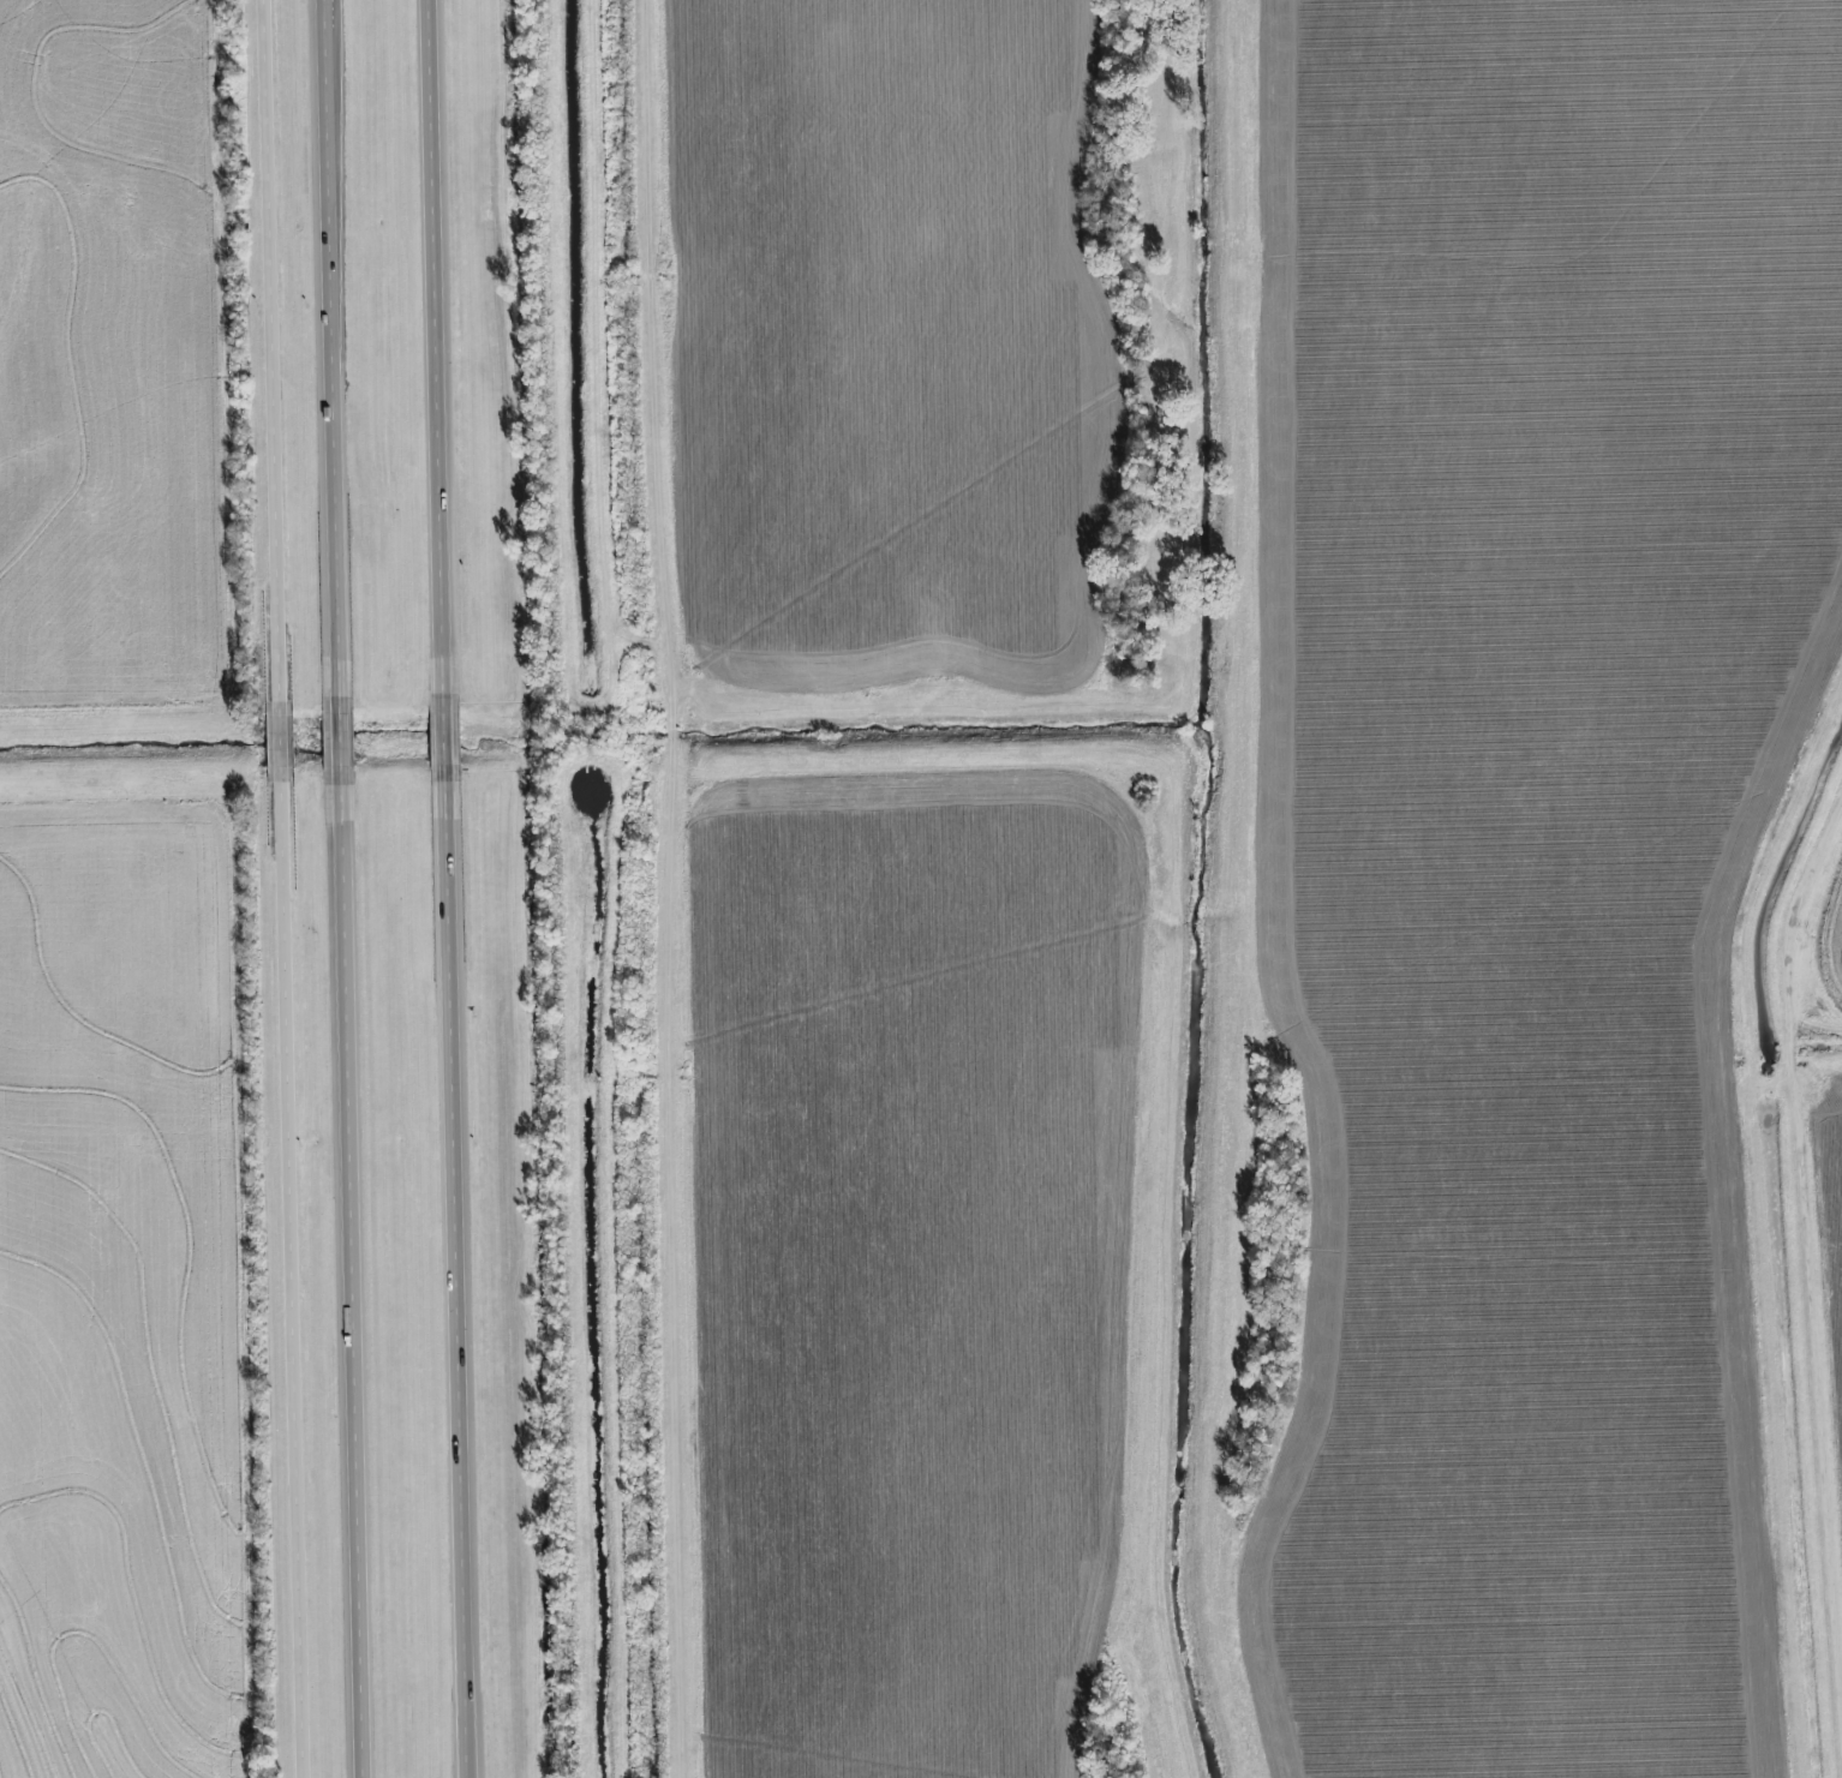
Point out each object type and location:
road: (657, 342)
road: (442, 345)
road: (330, 348)
road: (276, 349)
road: (671, 714)
road: (451, 735)
road: (285, 740)
road: (342, 742)
river: (1174, 891)
road: (1812, 1233)
road: (676, 1261)
road: (295, 1279)
road: (464, 1279)
road: (357, 1282)

